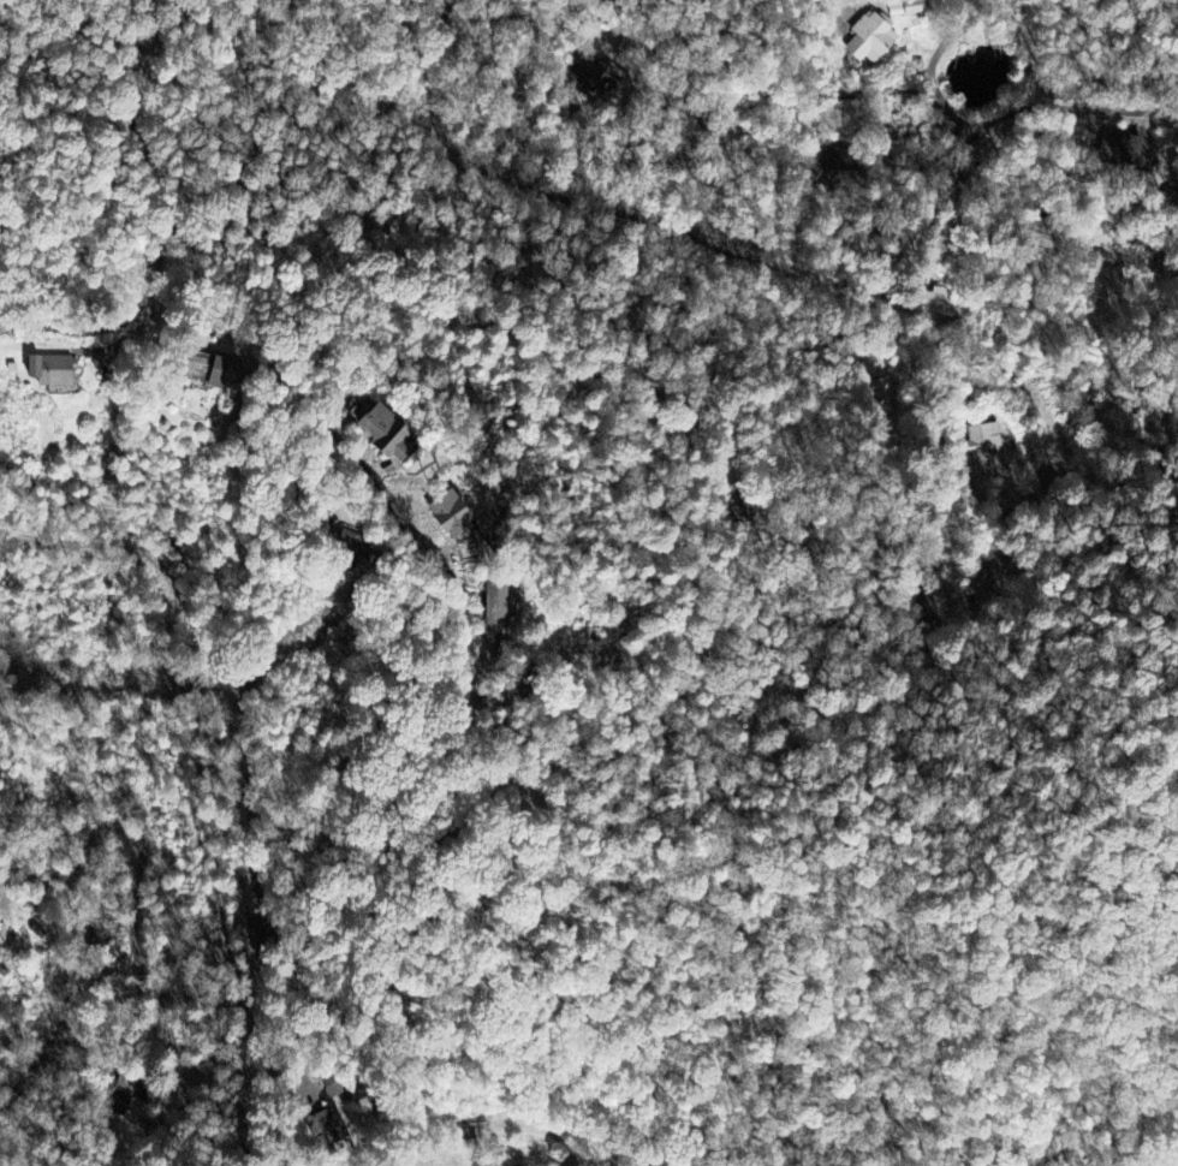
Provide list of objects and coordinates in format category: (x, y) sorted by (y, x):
building: (875, 42)
road: (932, 71)
road: (1174, 143)
road: (141, 151)
road: (1040, 267)
road: (763, 268)
road: (75, 327)
building: (53, 373)
building: (391, 434)
road: (362, 476)
road: (1164, 501)
building: (508, 608)
road: (162, 1012)

